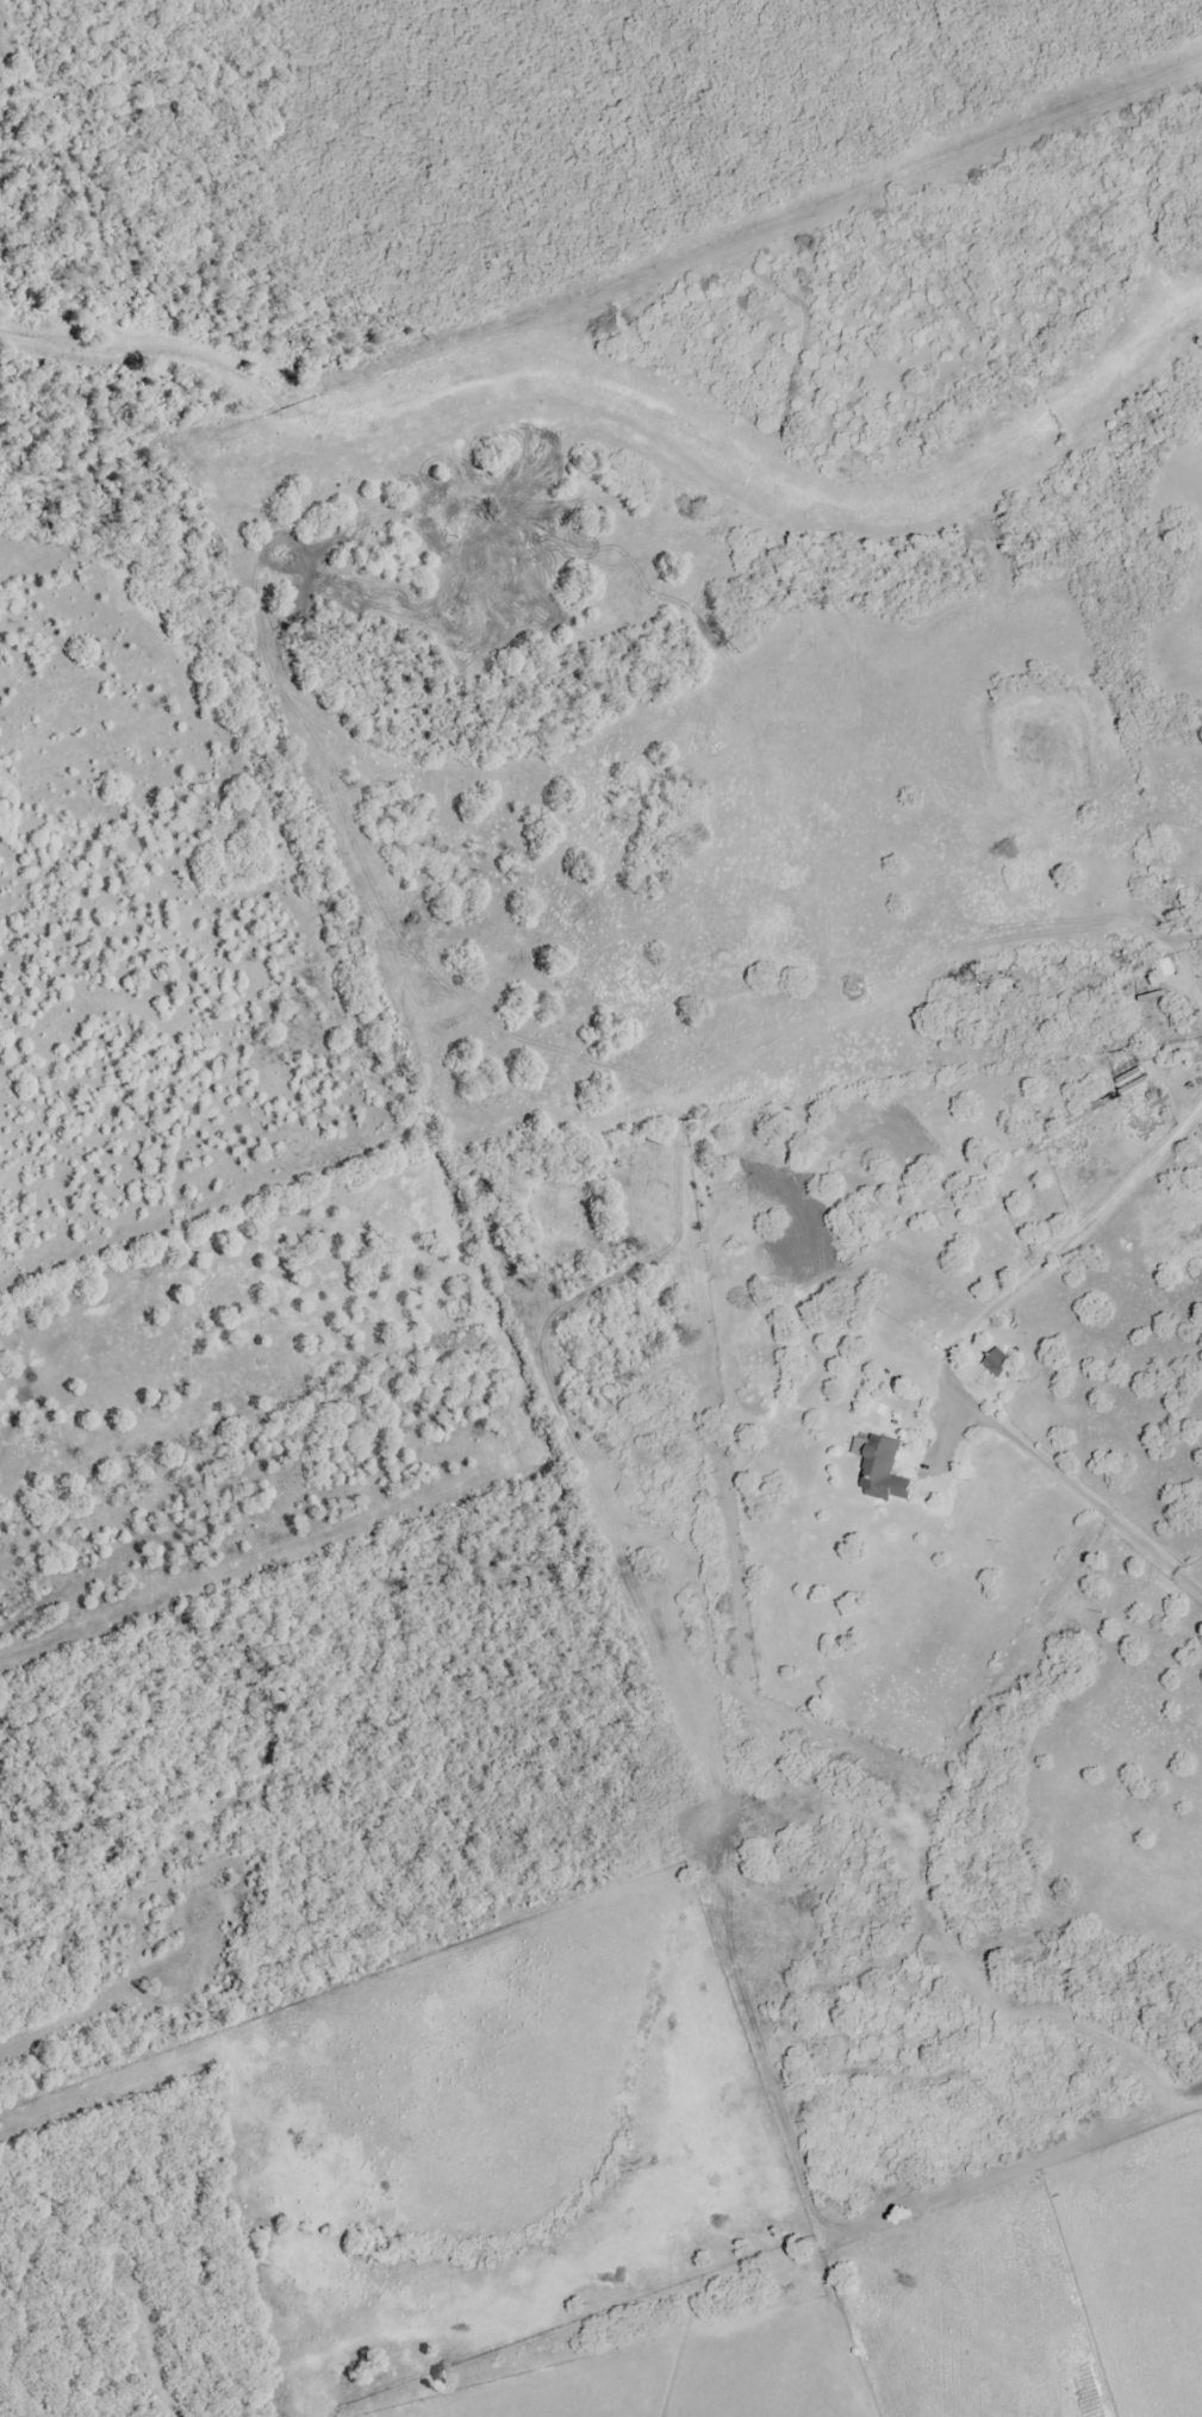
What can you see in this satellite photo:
building: (1158, 968)
building: (1121, 1073)
building: (990, 1363)
building: (878, 1471)

